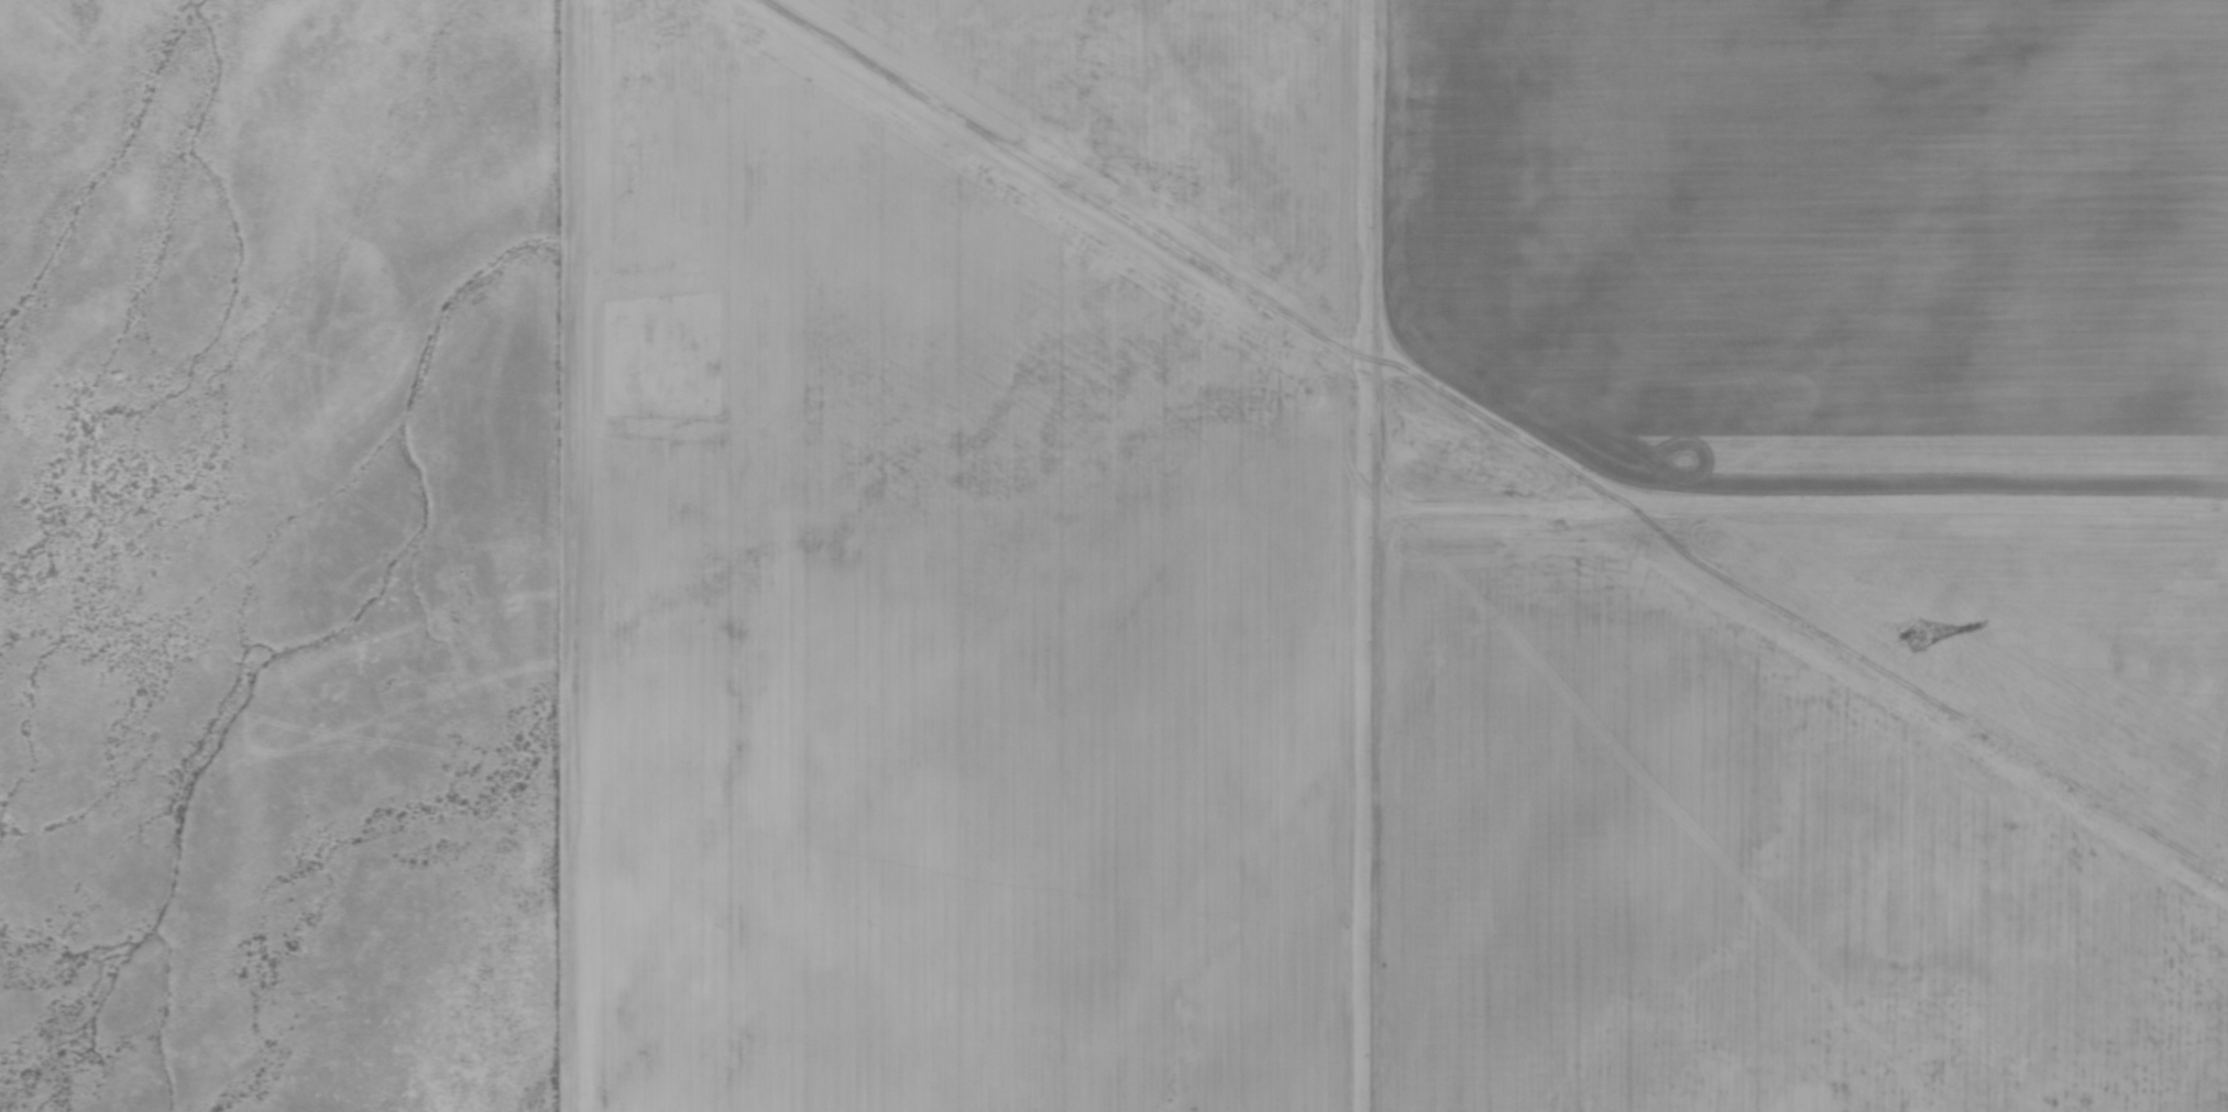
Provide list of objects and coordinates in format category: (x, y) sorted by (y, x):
power tower: (1913, 640)

